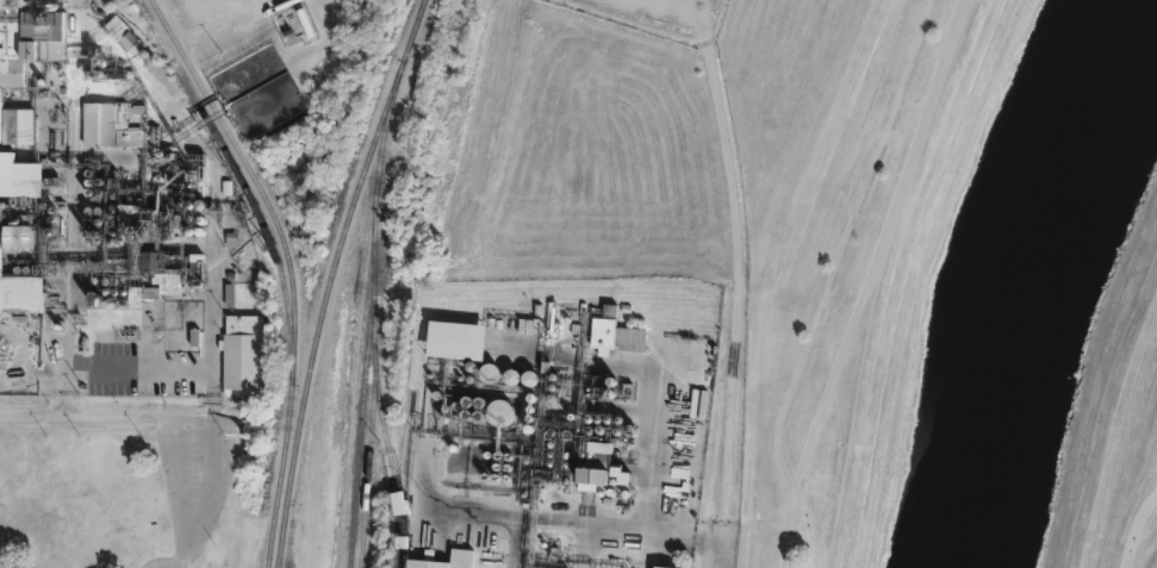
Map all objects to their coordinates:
railway: (409, 36)
building: (107, 125)
building: (15, 126)
railway: (253, 206)
building: (135, 224)
building: (18, 237)
railway: (287, 267)
building: (155, 279)
road: (832, 281)
river: (1026, 281)
building: (20, 294)
road: (736, 305)
railway: (317, 316)
railway: (368, 319)
building: (615, 332)
building: (452, 335)
building: (241, 352)
railway: (355, 366)
building: (453, 394)
road: (108, 414)
road: (216, 418)
railway: (369, 432)
building: (579, 451)
building: (612, 458)
building: (603, 468)
railway: (391, 469)
building: (604, 489)
building: (400, 503)
road: (633, 526)
road: (1136, 526)
building: (459, 554)
road: (1150, 560)
building: (658, 567)

